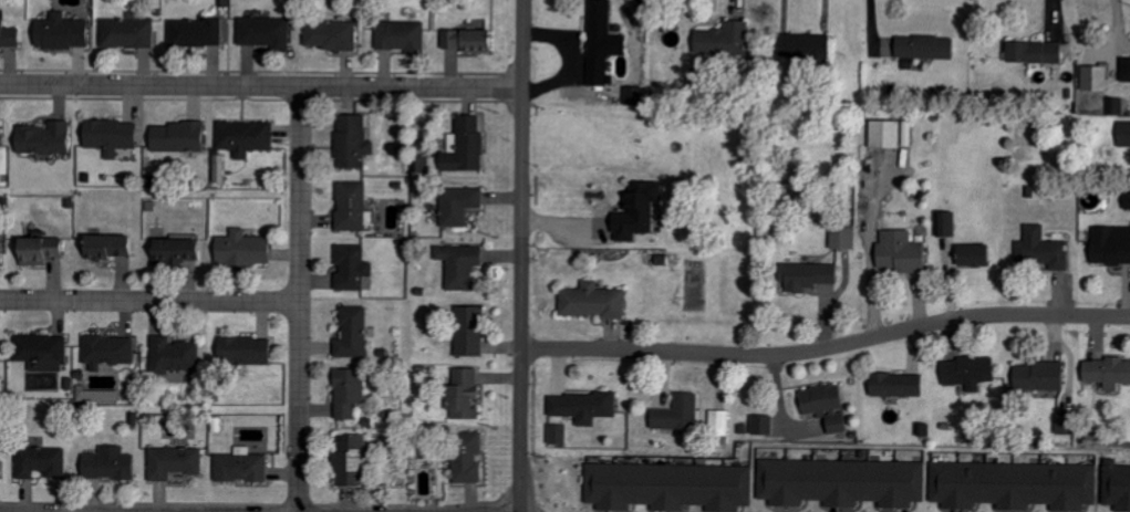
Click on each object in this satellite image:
building: (66, 32)
building: (199, 32)
building: (269, 32)
building: (10, 33)
building: (132, 33)
building: (334, 35)
building: (404, 36)
building: (728, 39)
building: (473, 40)
building: (605, 41)
building: (809, 45)
building: (930, 46)
building: (1040, 51)
building: (1128, 70)
road: (260, 85)
building: (637, 95)
building: (2, 134)
building: (890, 134)
building: (912, 134)
building: (1126, 134)
building: (115, 136)
building: (182, 137)
building: (249, 137)
building: (49, 138)
building: (356, 142)
building: (469, 146)
building: (464, 205)
building: (356, 207)
building: (1129, 207)
building: (643, 211)
building: (951, 223)
building: (848, 236)
building: (1113, 245)
building: (115, 247)
building: (248, 248)
building: (46, 250)
building: (182, 250)
building: (1045, 250)
building: (3, 252)
building: (905, 252)
road: (519, 255)
building: (979, 255)
building: (465, 265)
building: (355, 268)
building: (812, 275)
road: (148, 299)
road: (297, 299)
building: (597, 301)
building: (474, 330)
building: (356, 333)
road: (825, 345)
building: (112, 351)
building: (250, 351)
building: (46, 352)
building: (1, 354)
building: (177, 355)
building: (974, 370)
building: (1110, 372)
building: (1045, 376)
building: (902, 385)
building: (352, 391)
building: (468, 395)
building: (831, 406)
building: (587, 407)
building: (683, 414)
building: (723, 422)
building: (1070, 424)
building: (766, 426)
building: (562, 433)
building: (471, 457)
building: (355, 460)
building: (45, 462)
building: (178, 462)
building: (113, 463)
building: (2, 467)
building: (245, 467)
building: (846, 482)
building: (1018, 485)
building: (672, 487)

